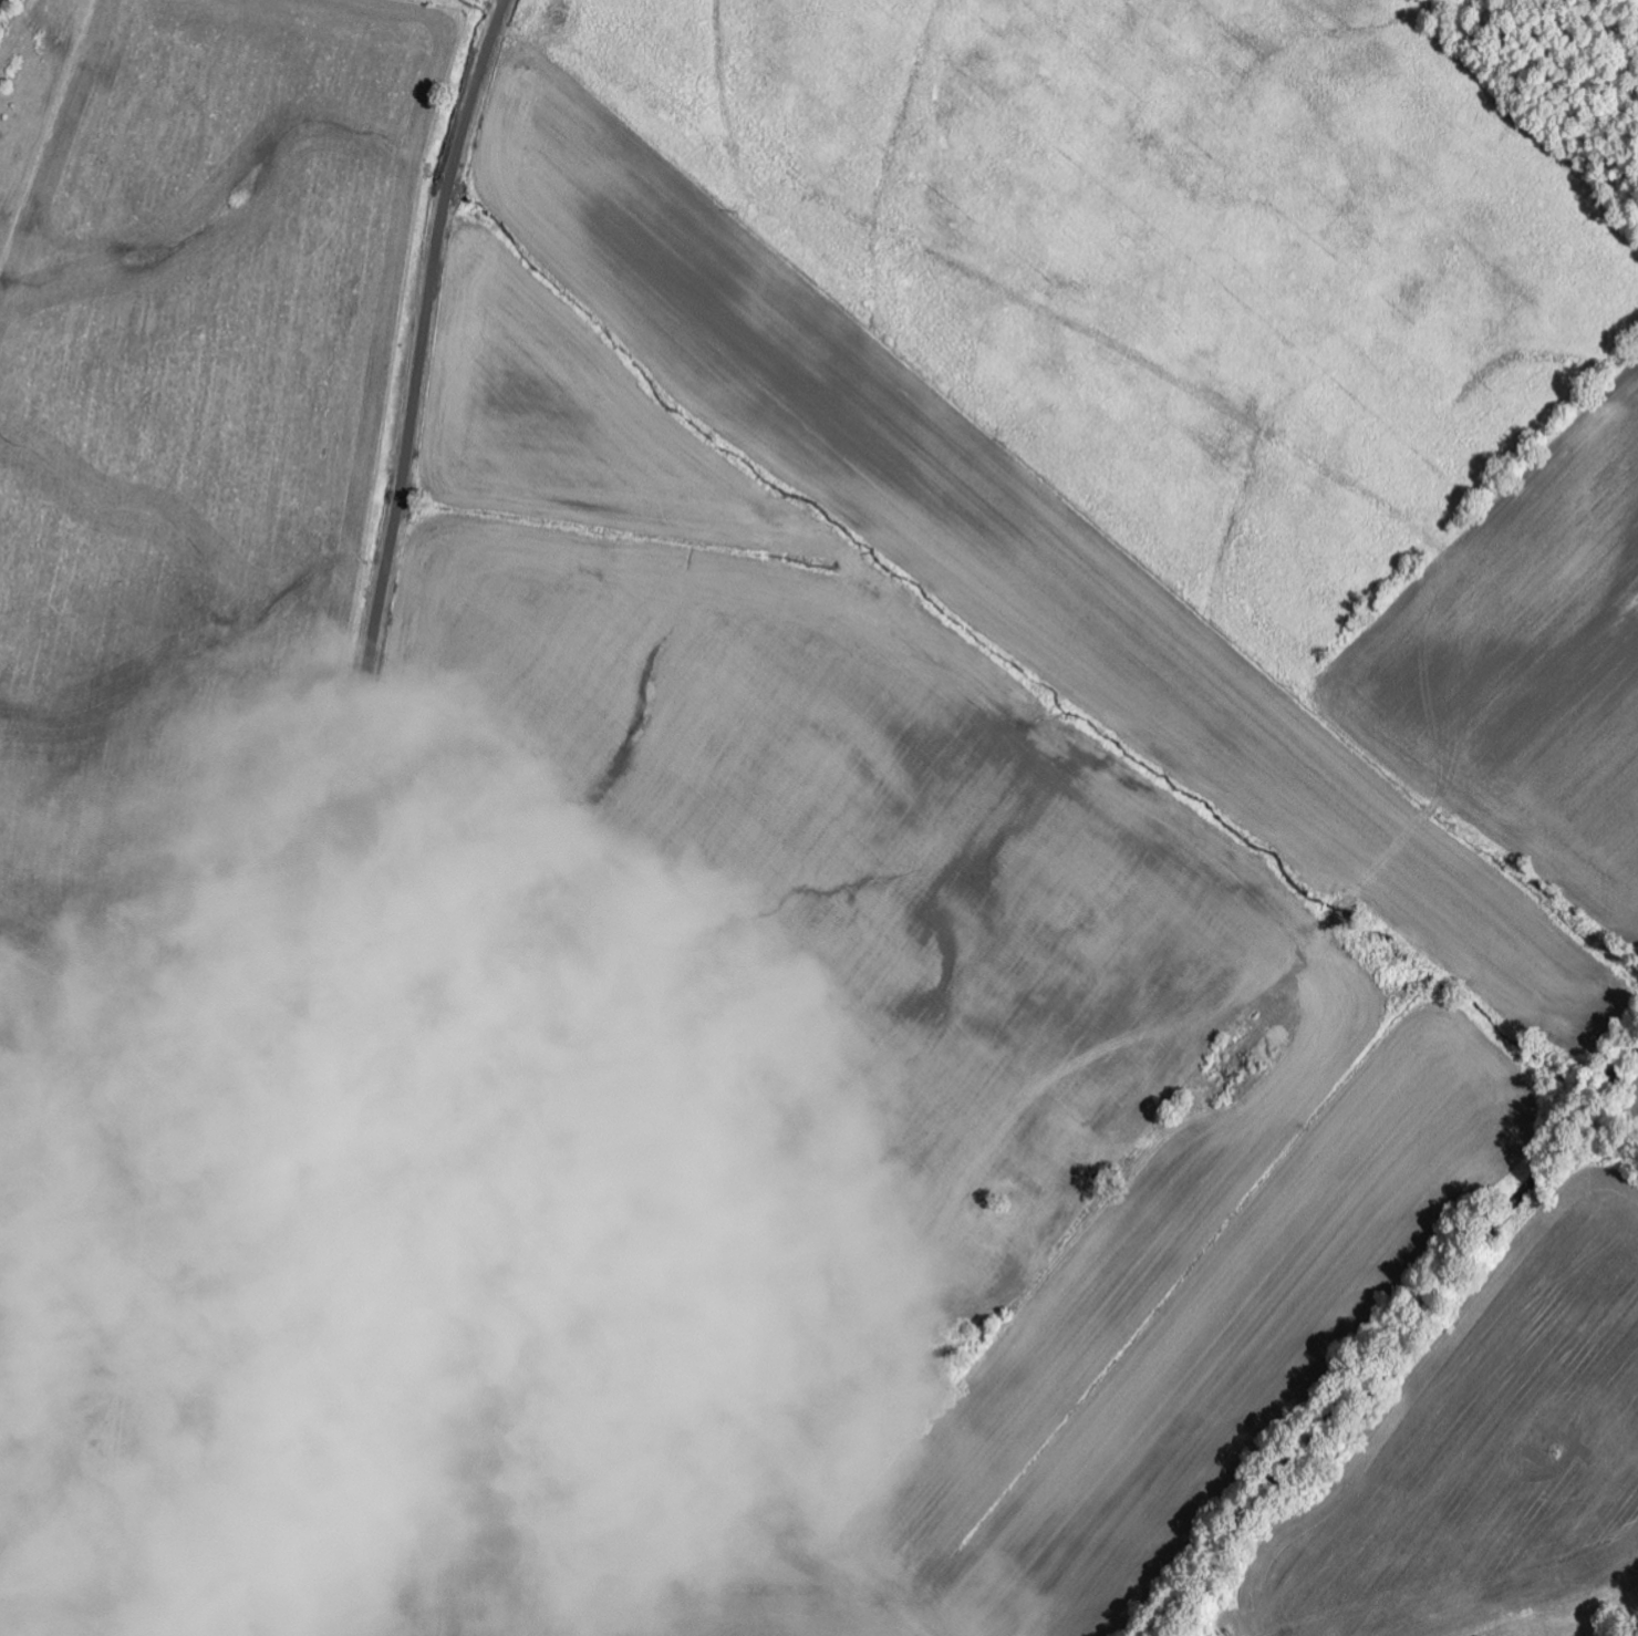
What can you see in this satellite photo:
road: (343, 810)
building: (114, 1089)
building: (176, 1097)
building: (120, 1189)
building: (446, 1207)

